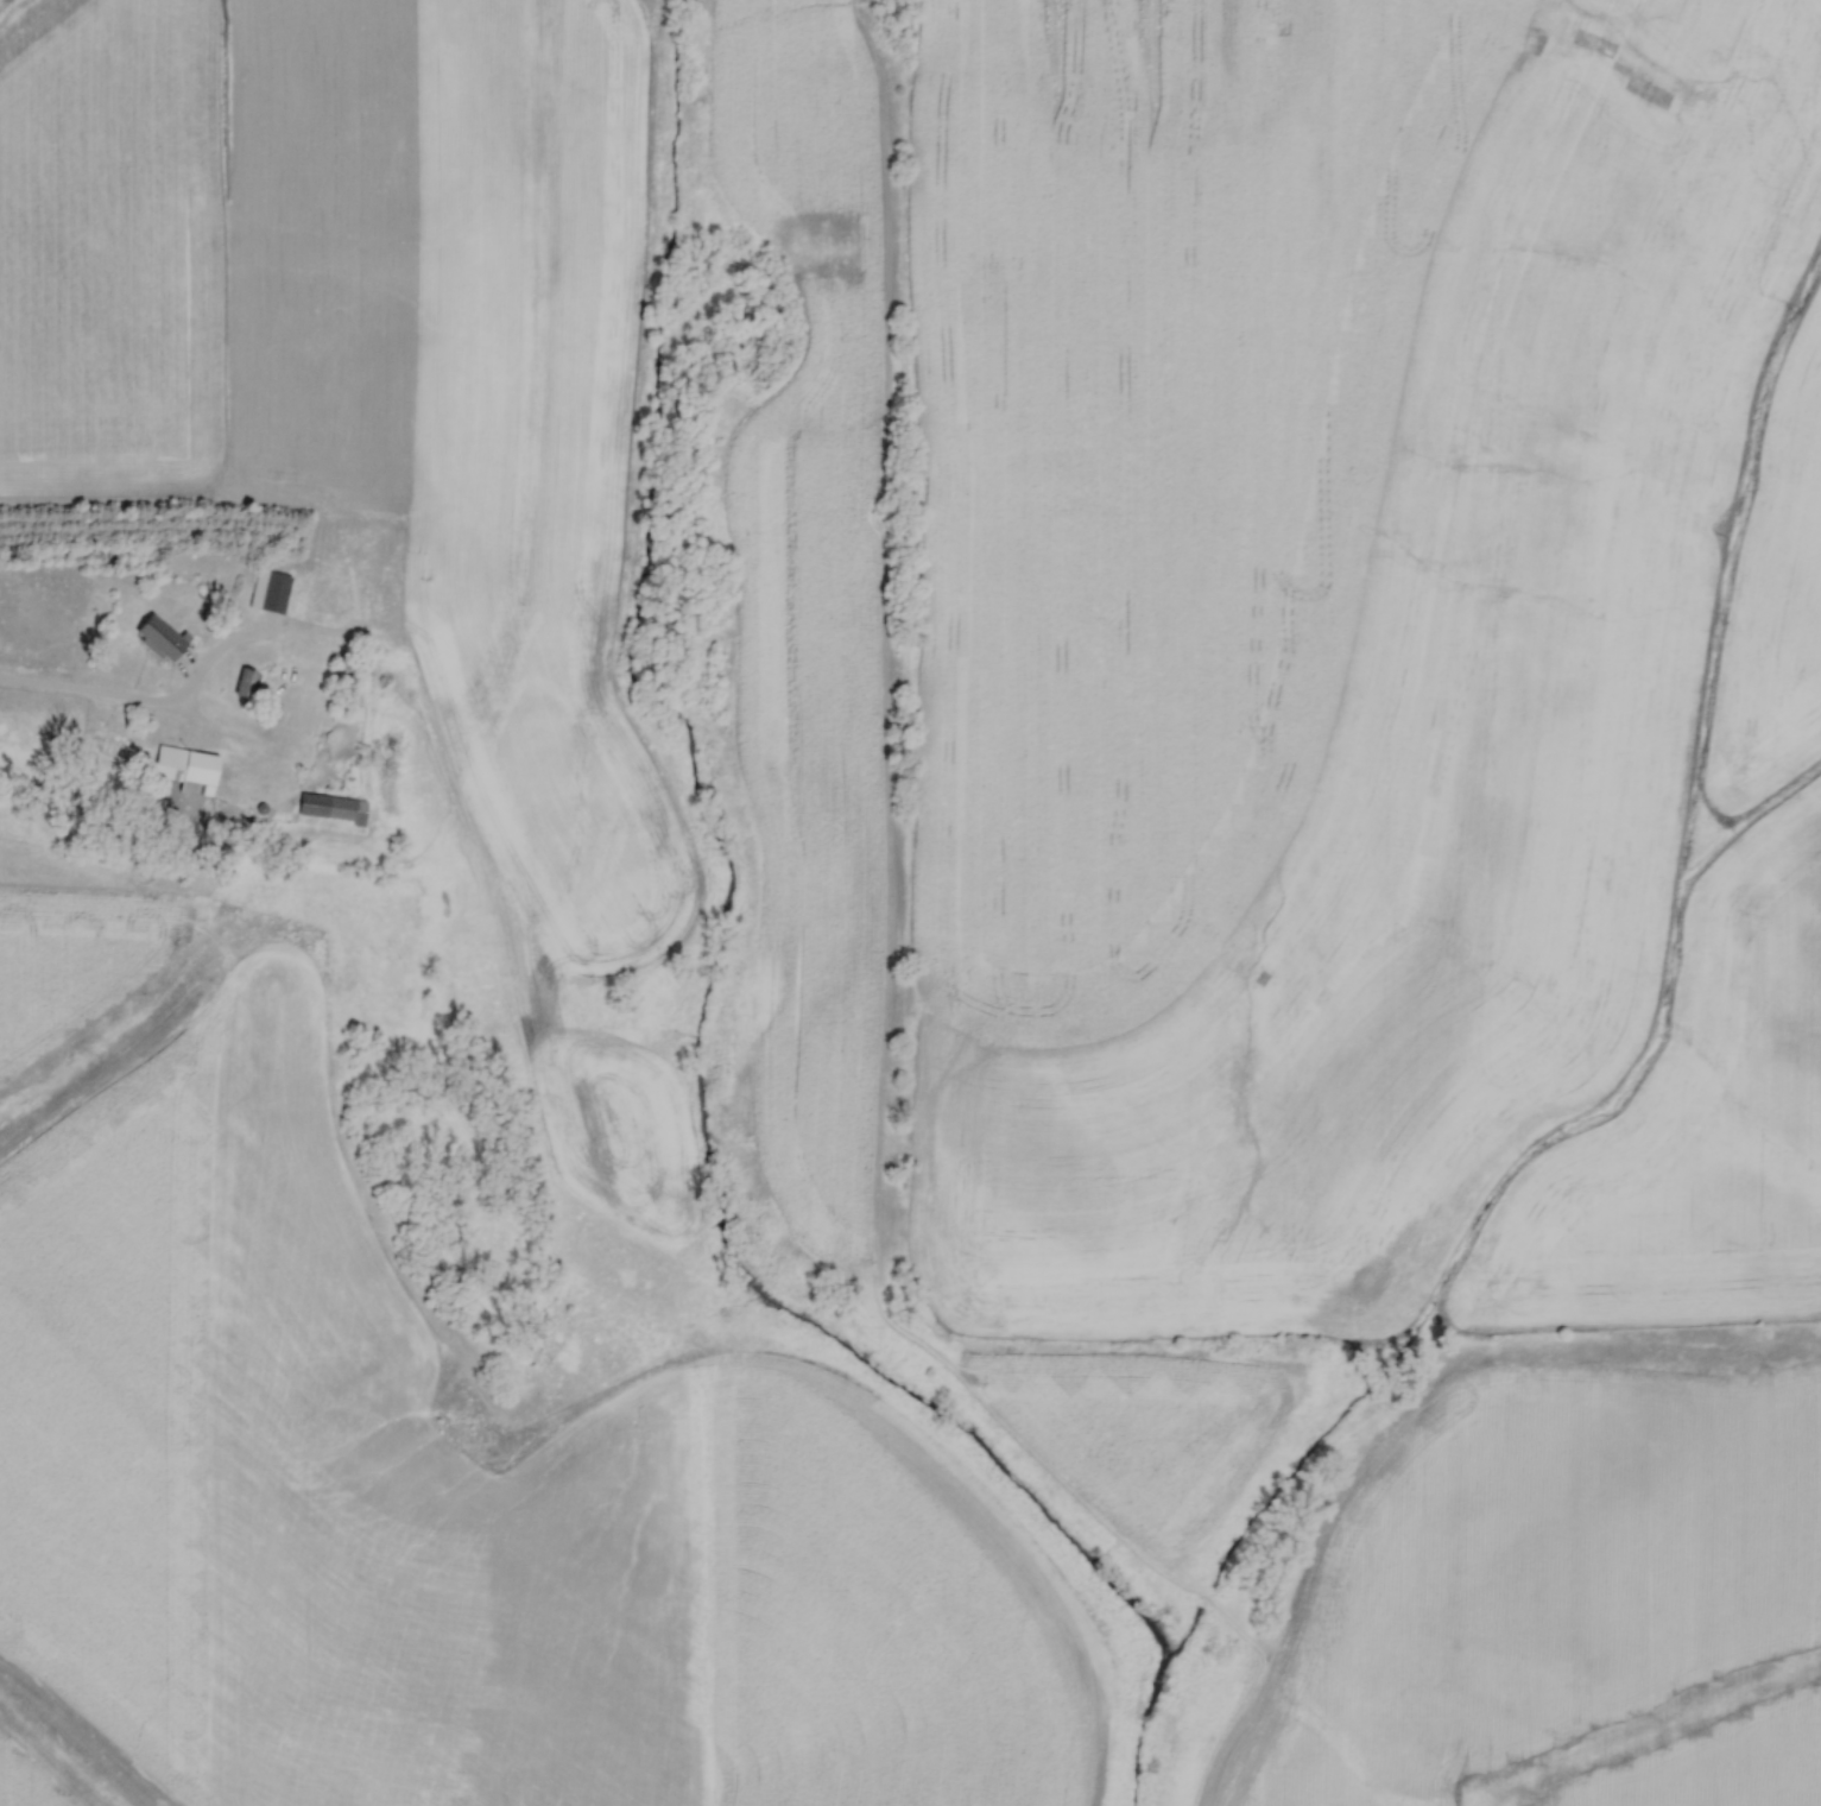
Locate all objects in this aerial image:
building: (273, 591)
building: (156, 636)
building: (246, 682)
road: (108, 700)
building: (185, 768)
building: (327, 806)

